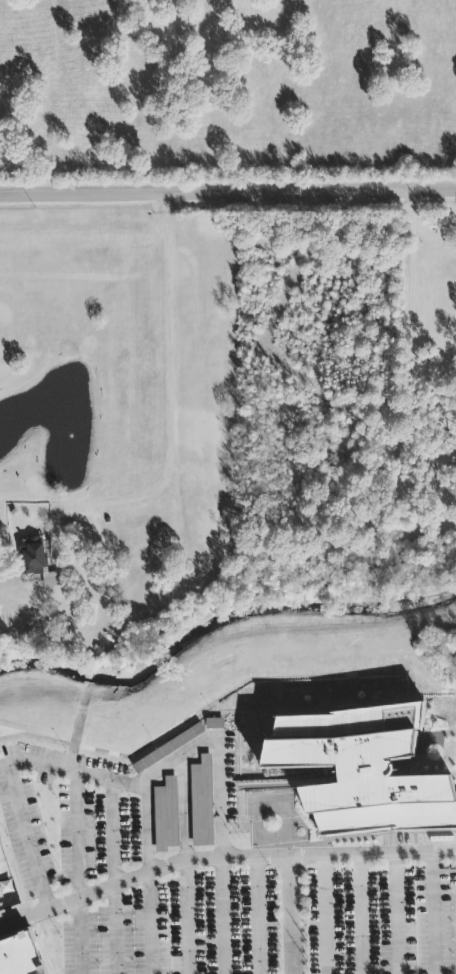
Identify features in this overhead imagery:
road: (227, 194)
road: (412, 320)
road: (169, 386)
building: (445, 459)
building: (35, 561)
river: (218, 621)
road: (228, 694)
road: (10, 771)
building: (362, 772)
building: (202, 803)
road: (219, 813)
building: (166, 816)
road: (221, 857)
road: (185, 865)
road: (78, 874)
road: (148, 877)
road: (113, 878)
road: (396, 913)
road: (432, 913)
road: (327, 914)
road: (360, 914)
road: (258, 915)
road: (290, 915)
building: (19, 956)

